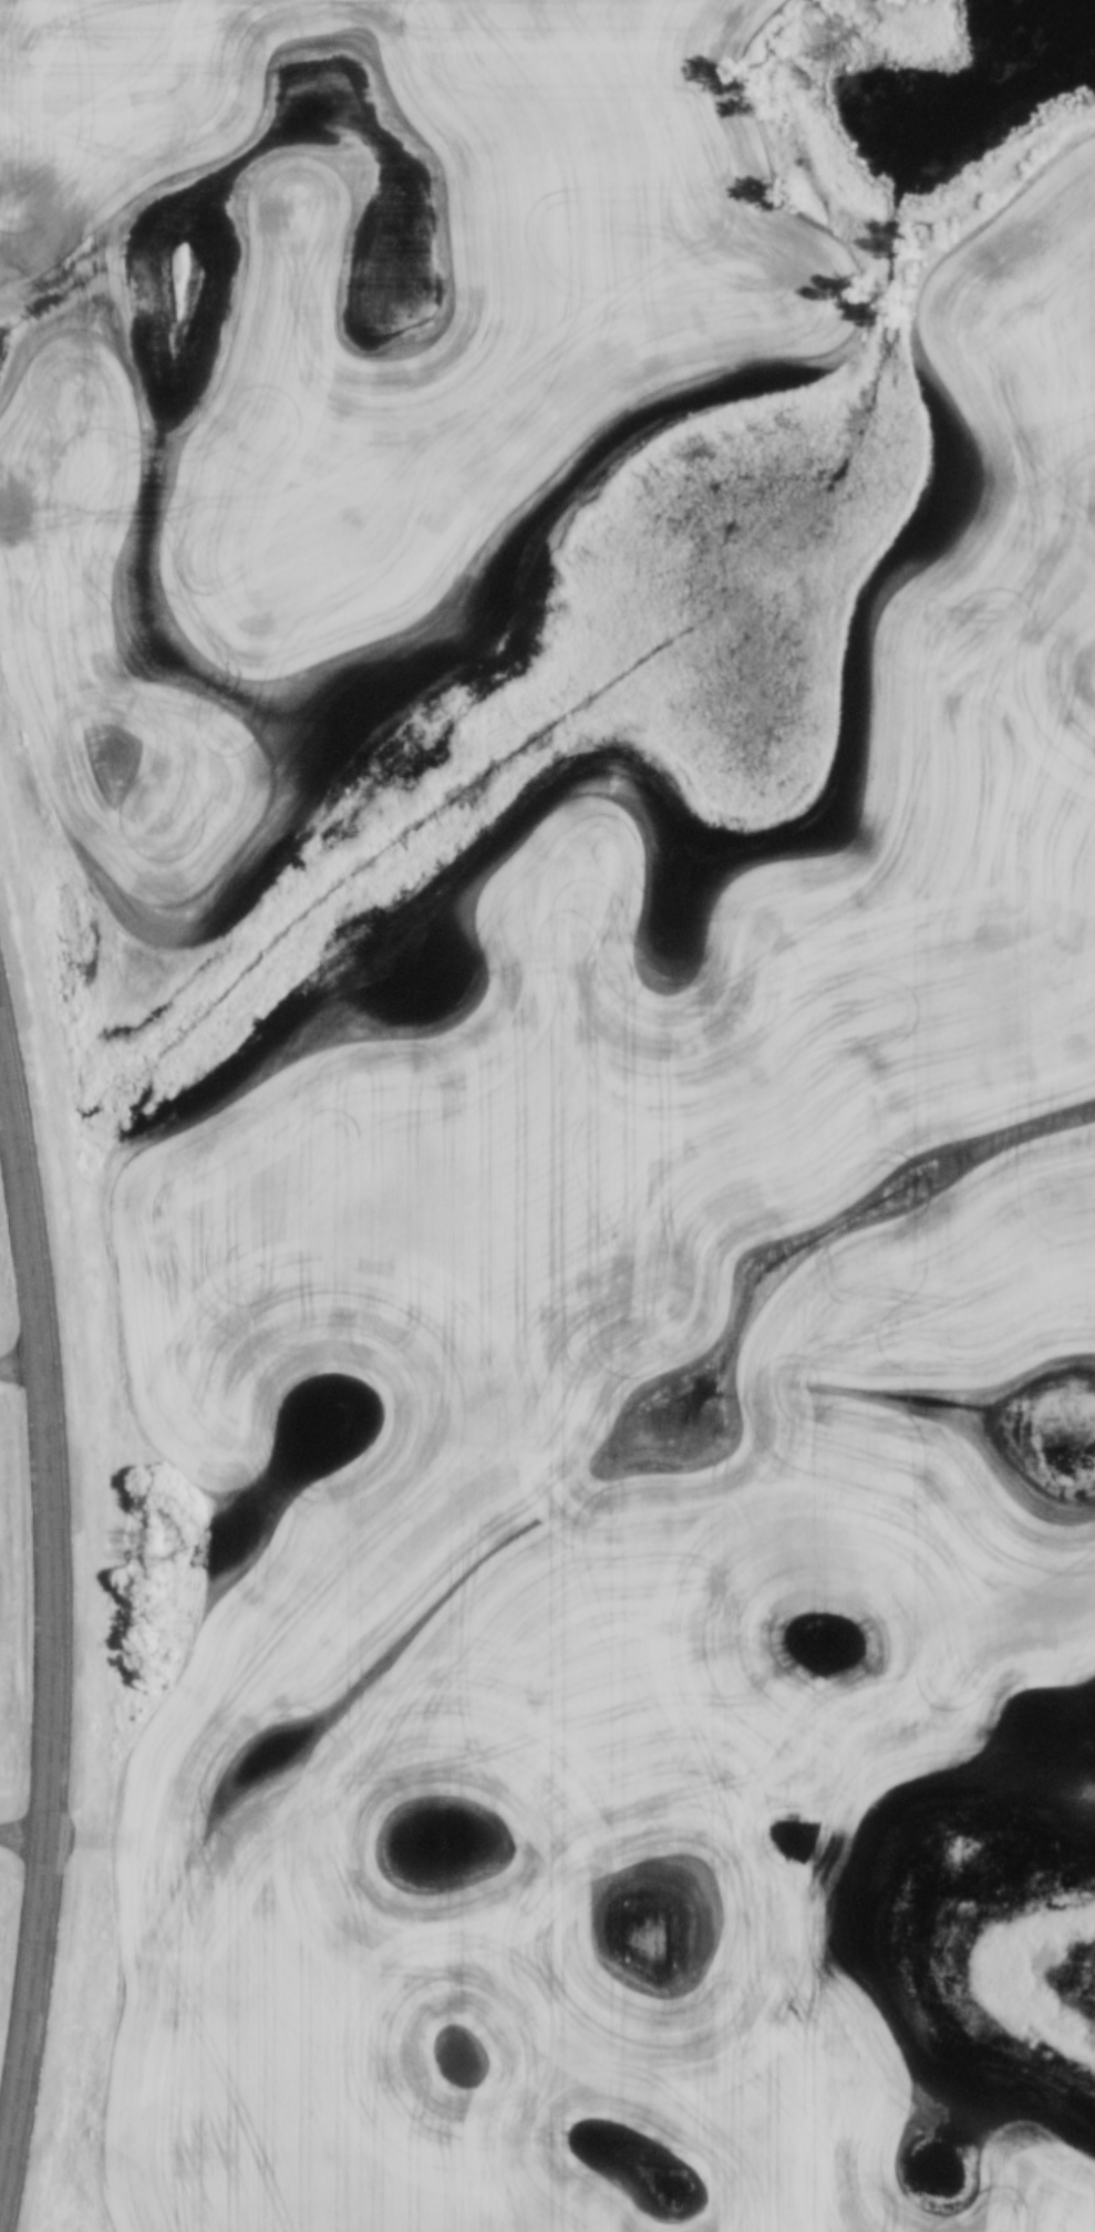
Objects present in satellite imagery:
road: (23, 1367)
road: (56, 1624)
road: (25, 1837)

